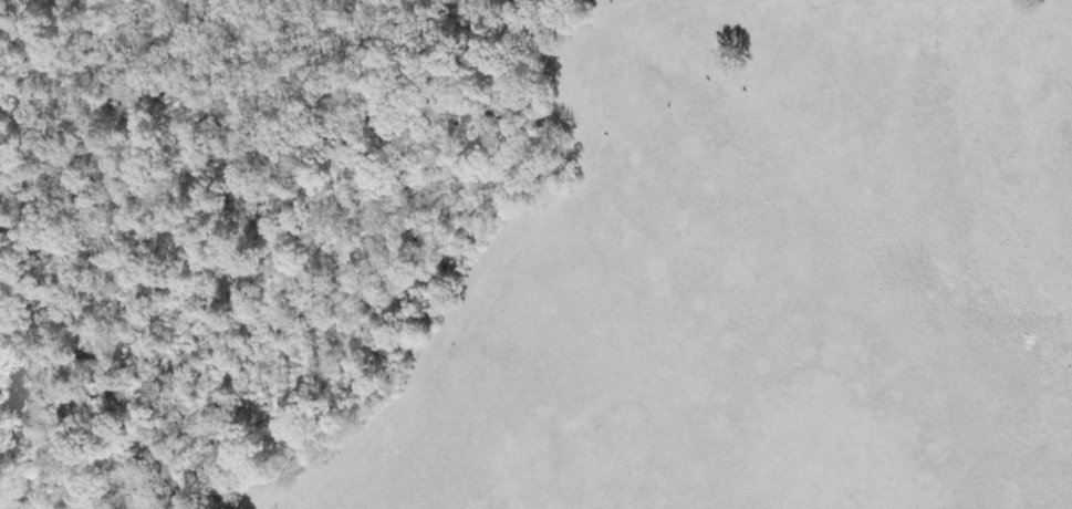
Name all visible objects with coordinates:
road: (967, 146)

